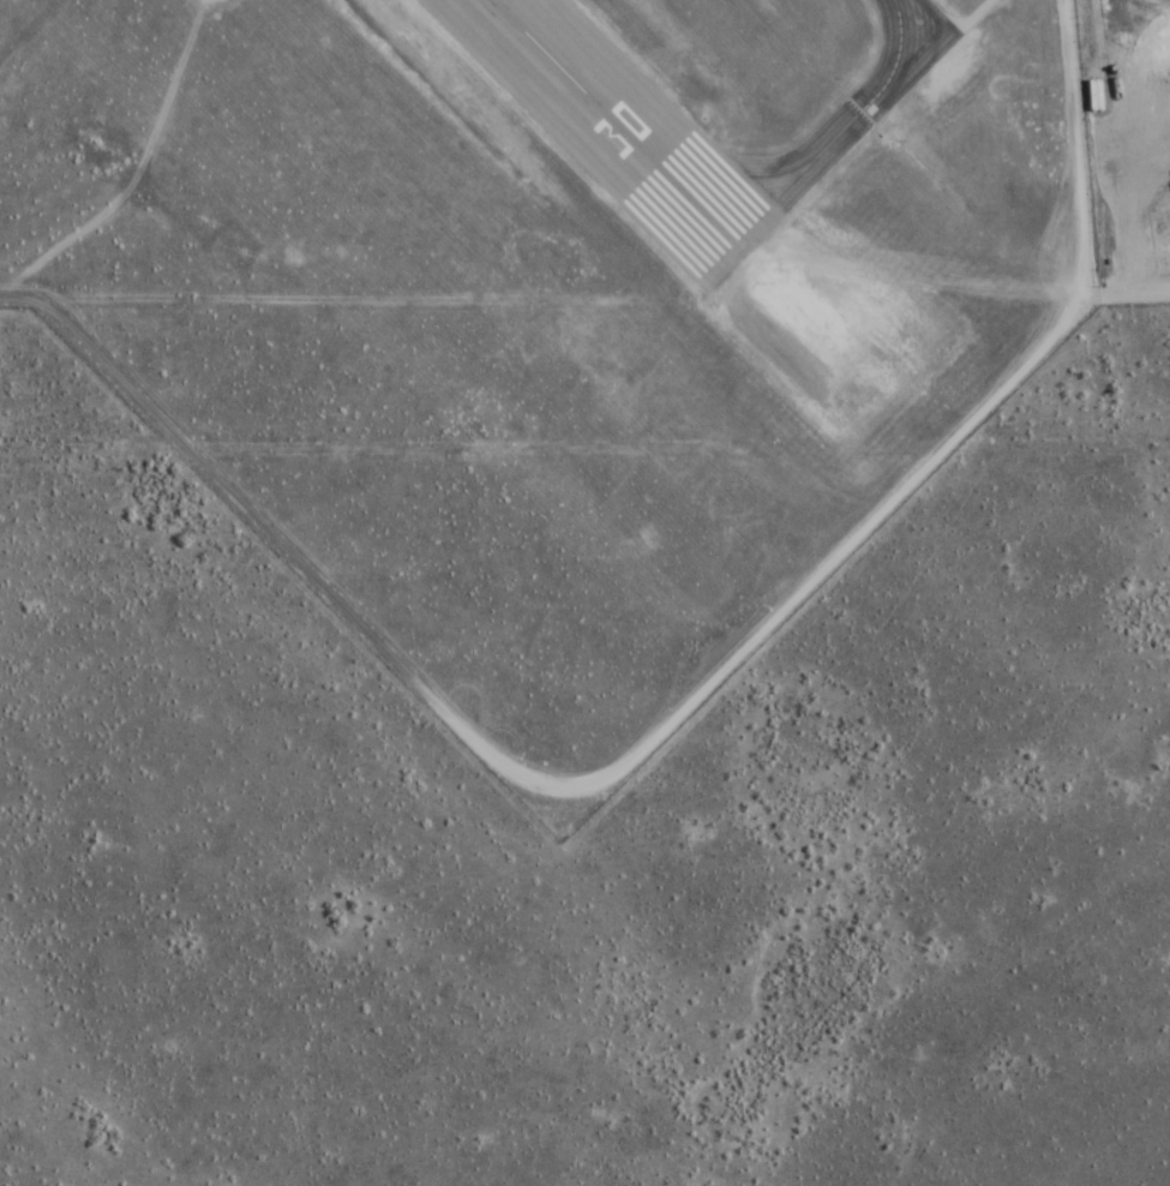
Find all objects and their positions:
airport runway: (617, 126)
airport taxiway: (841, 132)
airport: (552, 309)
road: (667, 724)

